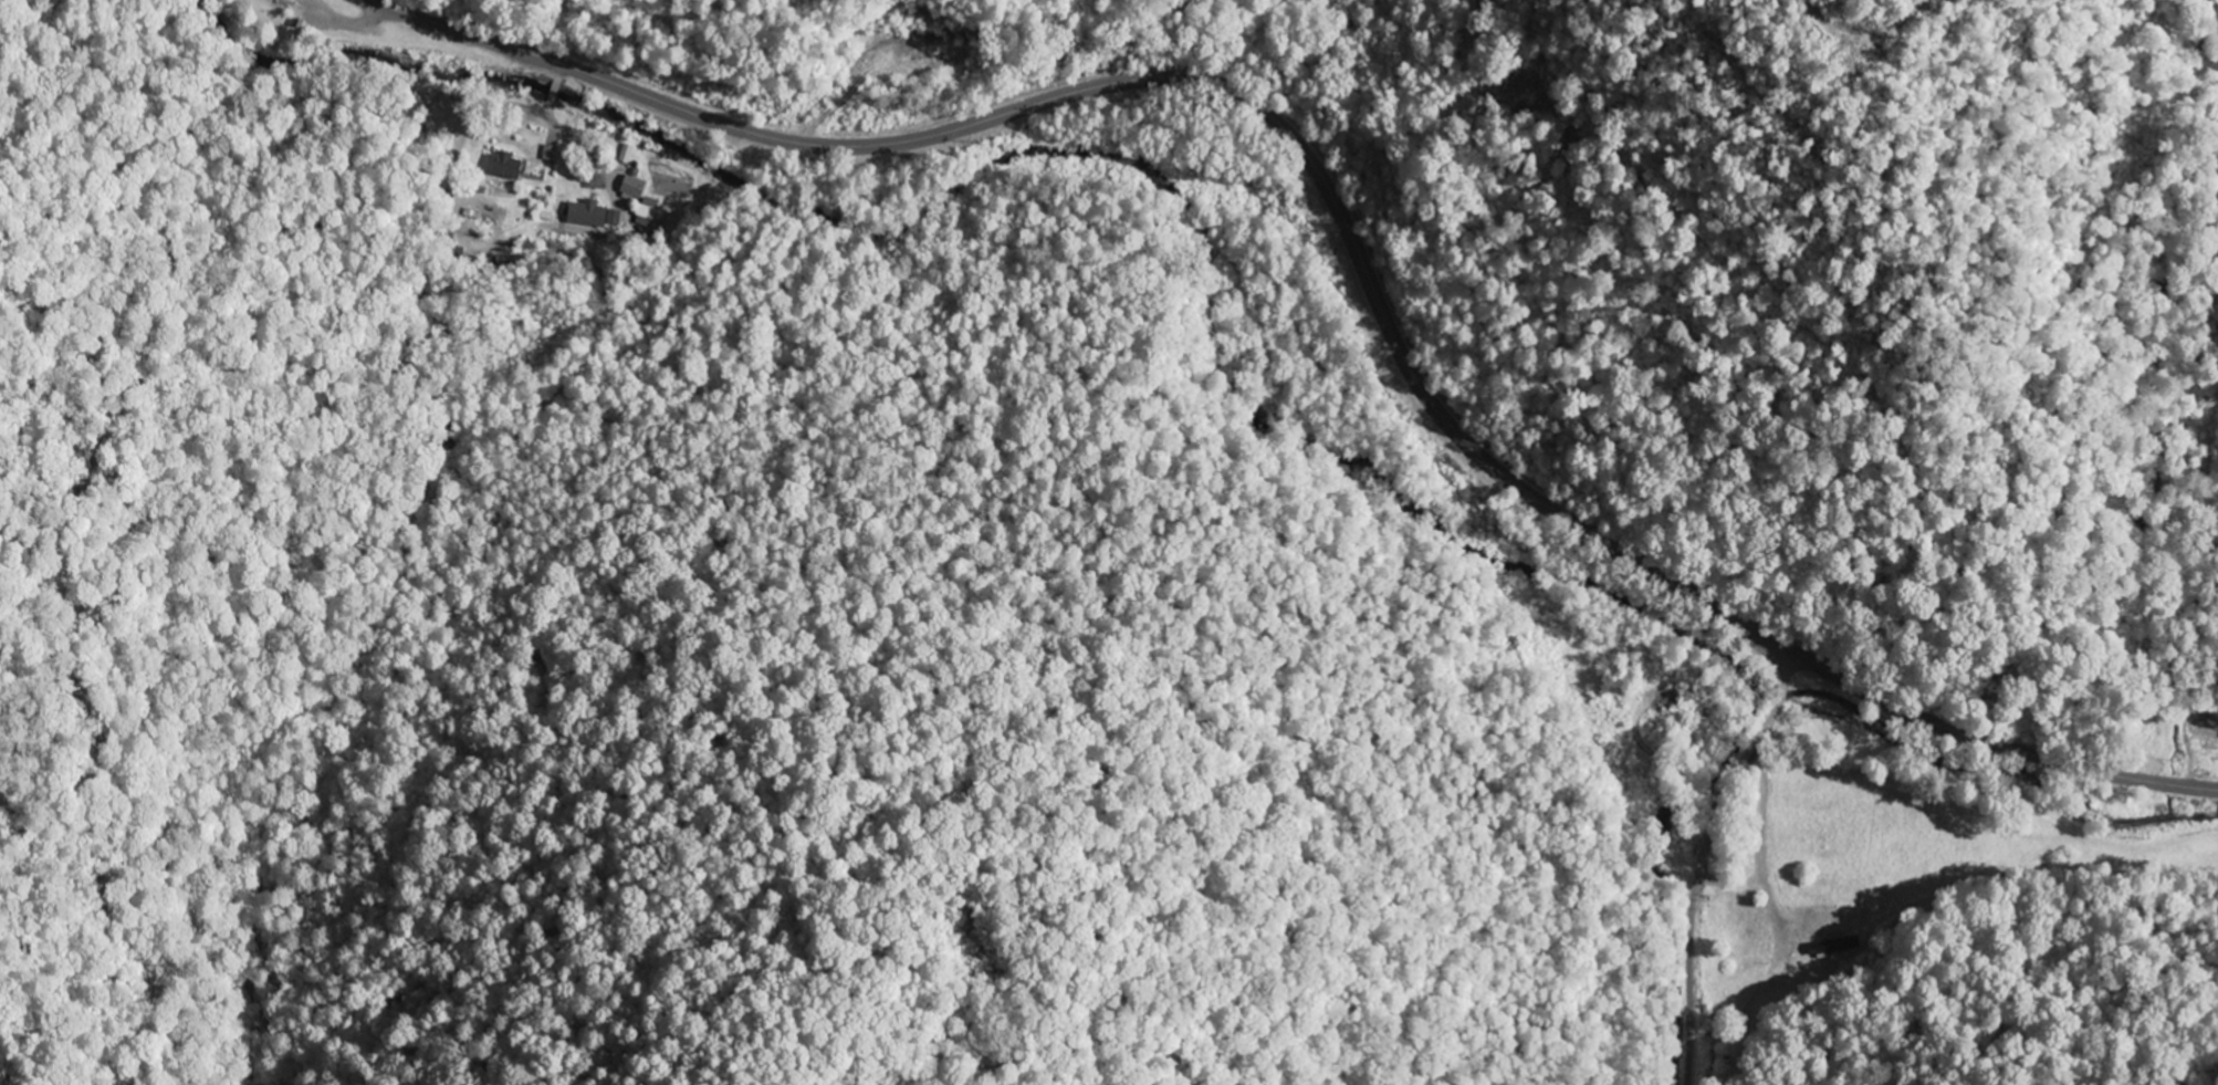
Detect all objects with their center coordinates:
road: (1200, 81)
building: (551, 154)
building: (508, 166)
building: (635, 189)
building: (647, 213)
building: (588, 215)
building: (615, 219)
road: (2005, 745)
road: (1707, 853)

